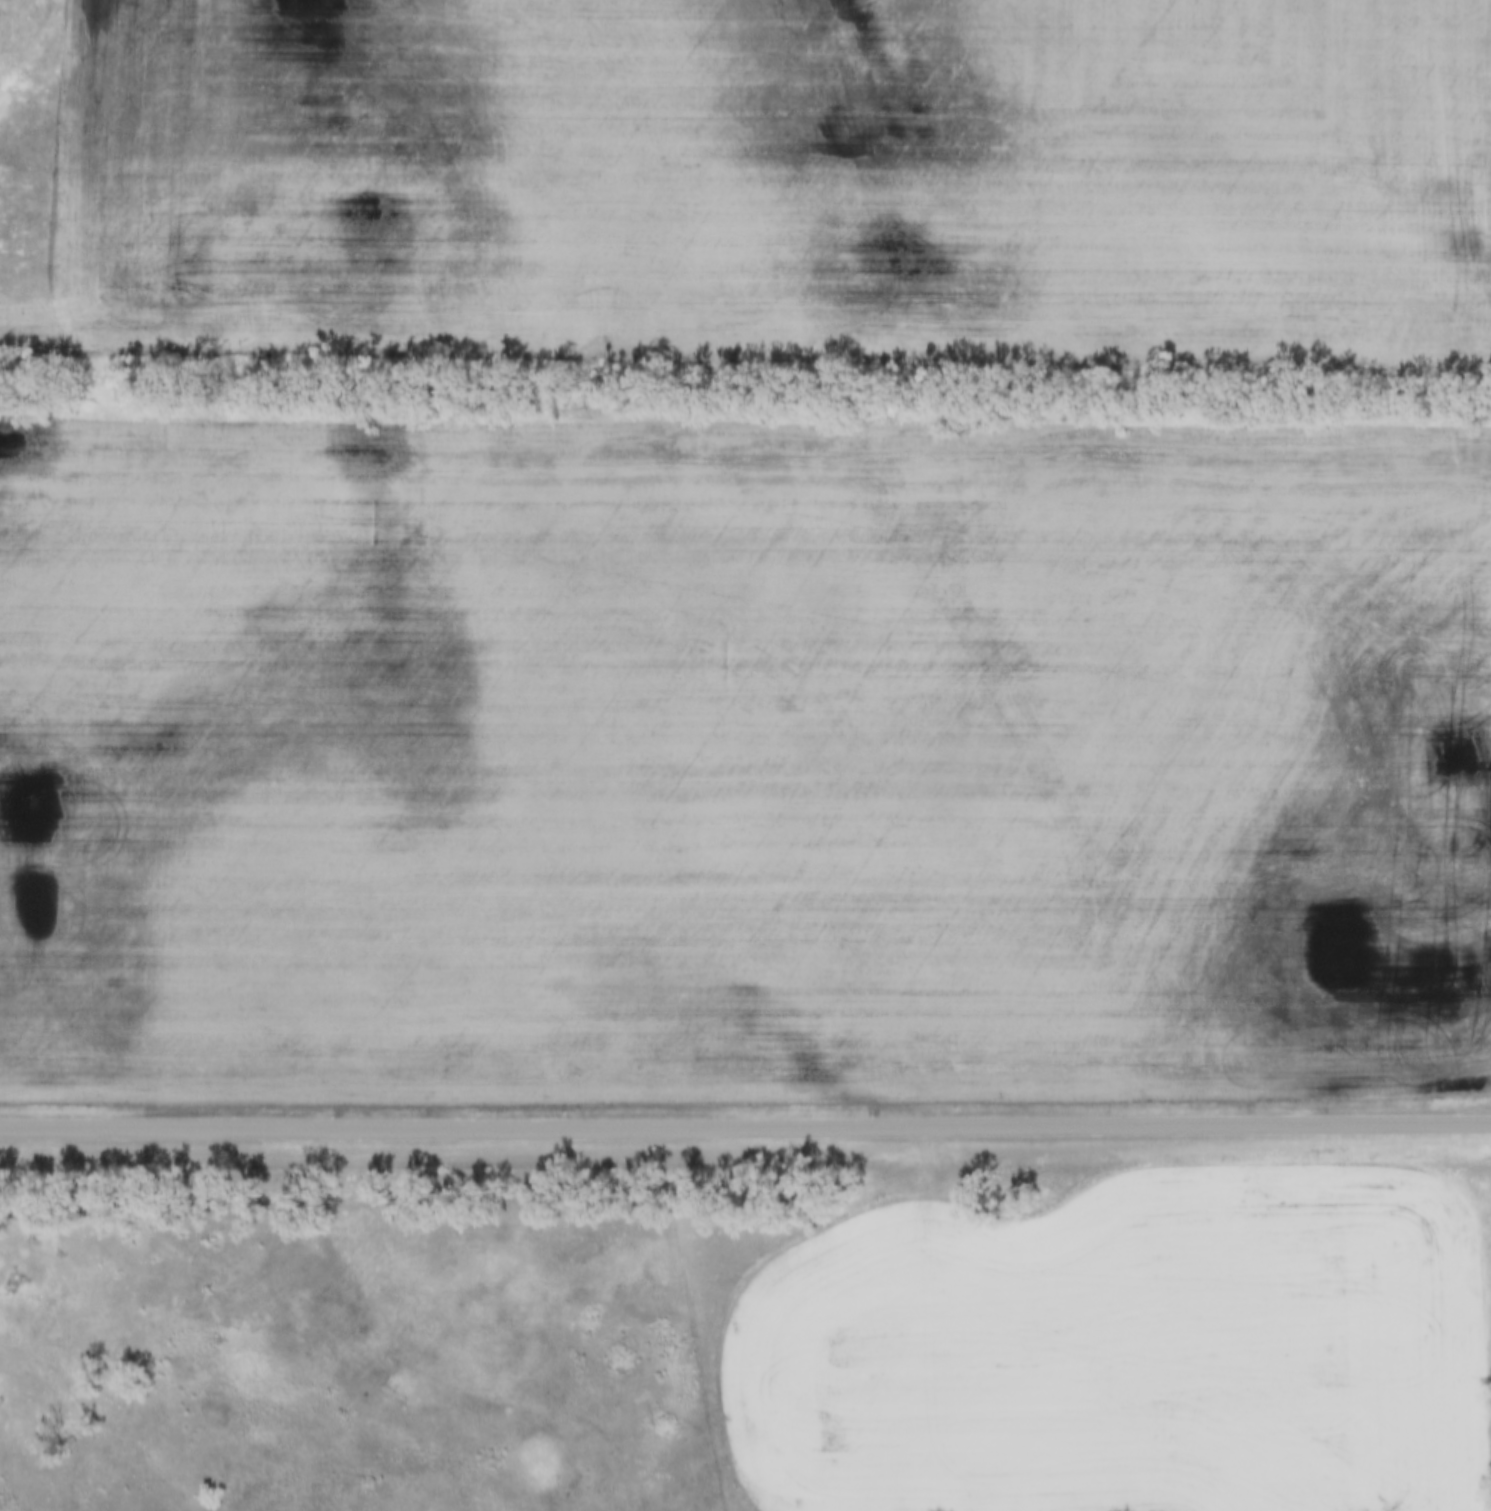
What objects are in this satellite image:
road: (745, 1119)

